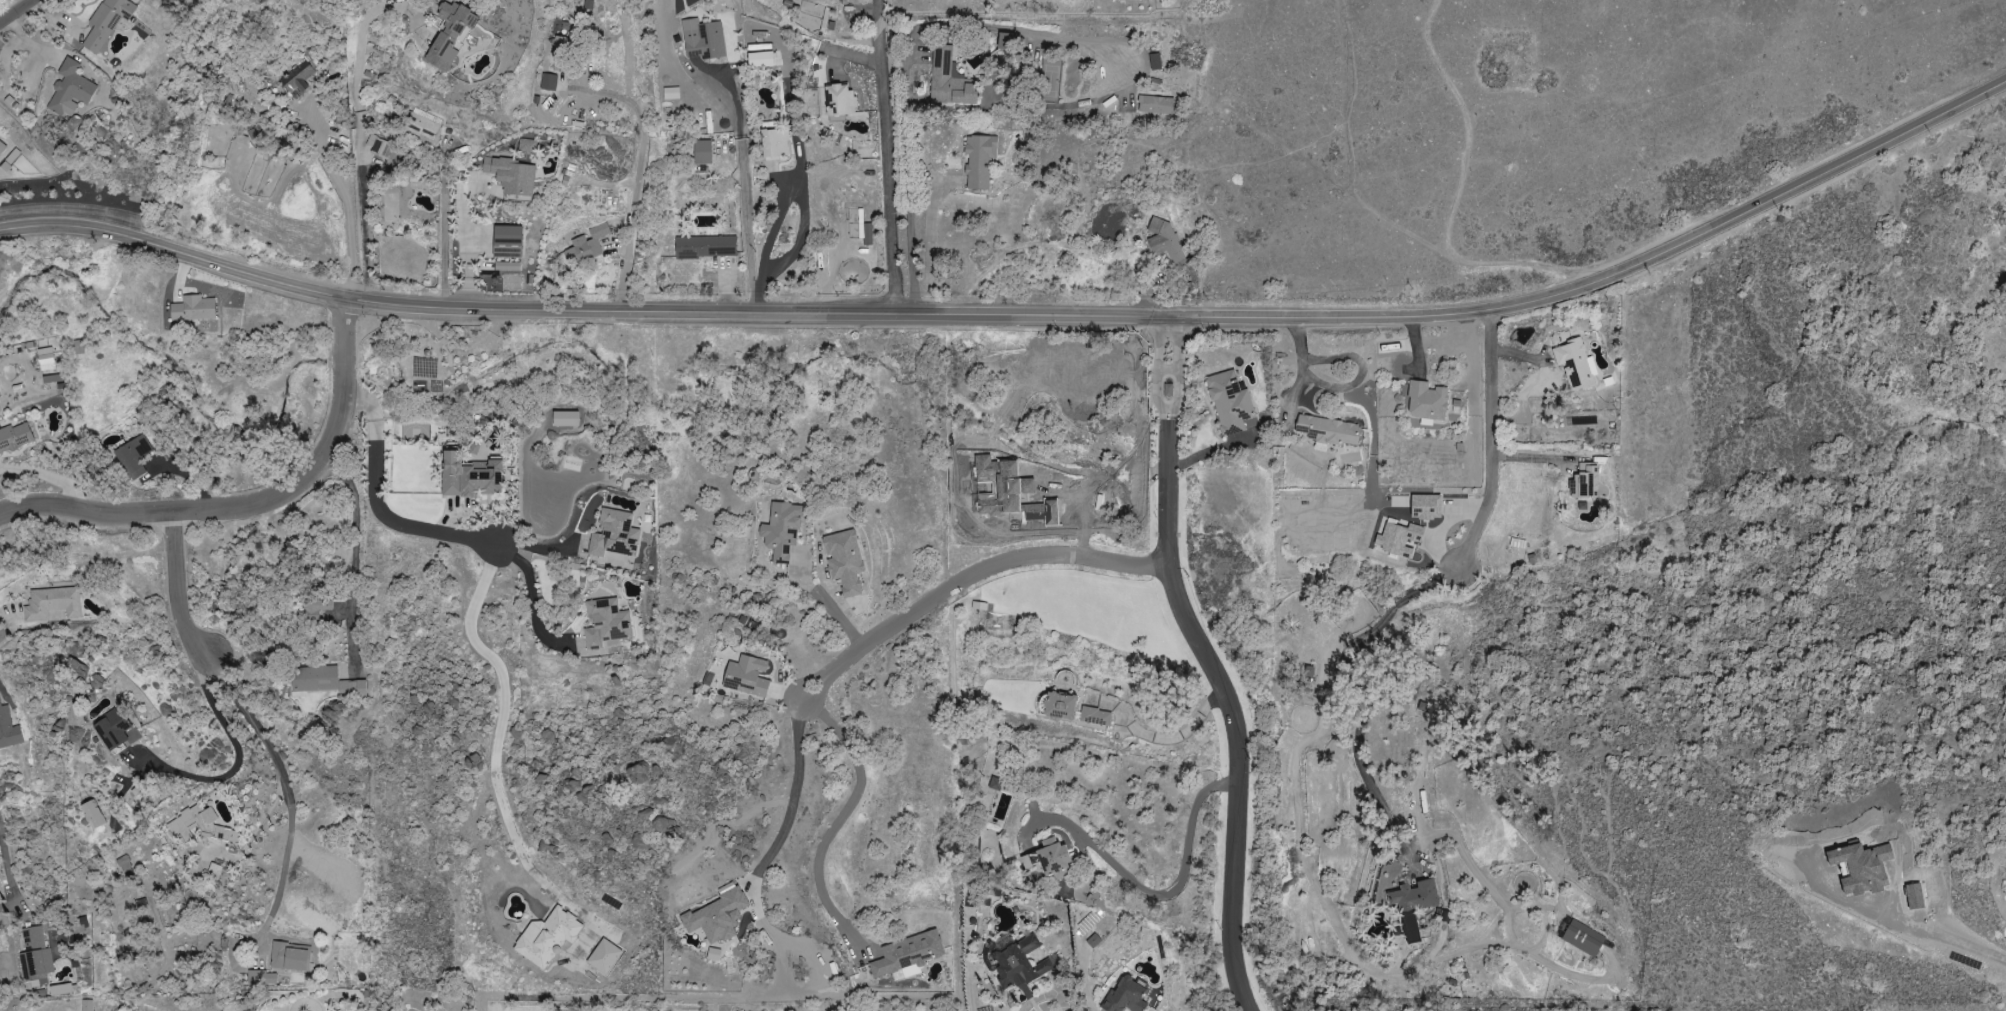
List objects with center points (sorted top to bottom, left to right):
road: (12, 8)
building: (109, 23)
building: (450, 37)
building: (702, 40)
building: (1005, 40)
building: (560, 55)
building: (760, 60)
building: (971, 60)
building: (1154, 61)
building: (1050, 78)
building: (297, 79)
building: (949, 80)
building: (548, 82)
building: (69, 91)
building: (840, 100)
building: (1155, 104)
road: (358, 123)
building: (424, 123)
building: (774, 142)
building: (527, 146)
building: (2, 148)
building: (381, 148)
building: (702, 152)
building: (11, 157)
road: (897, 158)
building: (979, 161)
road: (794, 174)
building: (511, 175)
road: (637, 183)
road: (741, 187)
road: (1364, 204)
road: (346, 211)
road: (443, 229)
building: (507, 241)
building: (586, 245)
road: (796, 245)
building: (705, 246)
building: (1170, 250)
building: (193, 308)
road: (1024, 317)
building: (45, 359)
building: (1574, 364)
road: (1299, 369)
building: (1426, 401)
building: (1230, 403)
building: (565, 418)
building: (1328, 430)
building: (14, 436)
road: (1491, 442)
building: (133, 456)
road: (45, 476)
building: (470, 476)
building: (1586, 481)
road: (249, 502)
road: (375, 503)
building: (1426, 507)
building: (781, 530)
road: (352, 533)
building: (614, 534)
building: (1396, 536)
road: (540, 546)
building: (844, 560)
road: (967, 578)
road: (176, 589)
road: (531, 591)
building: (52, 603)
road: (824, 603)
building: (979, 606)
building: (998, 621)
building: (605, 623)
road: (8, 627)
road: (1221, 660)
building: (747, 676)
building: (325, 682)
road: (1368, 700)
building: (1060, 706)
building: (1095, 717)
building: (8, 730)
building: (112, 730)
road: (1163, 738)
road: (494, 756)
road: (243, 762)
road: (287, 791)
road: (792, 799)
building: (92, 814)
road: (840, 819)
building: (199, 825)
building: (1050, 859)
building: (213, 871)
road: (8, 872)
road: (1181, 890)
building: (1414, 905)
building: (716, 917)
road: (1944, 932)
building: (547, 937)
building: (1583, 939)
building: (908, 954)
building: (290, 957)
building: (603, 957)
building: (1020, 965)
building: (261, 978)
building: (60, 989)
road: (1043, 996)
building: (1125, 997)
building: (86, 1005)

